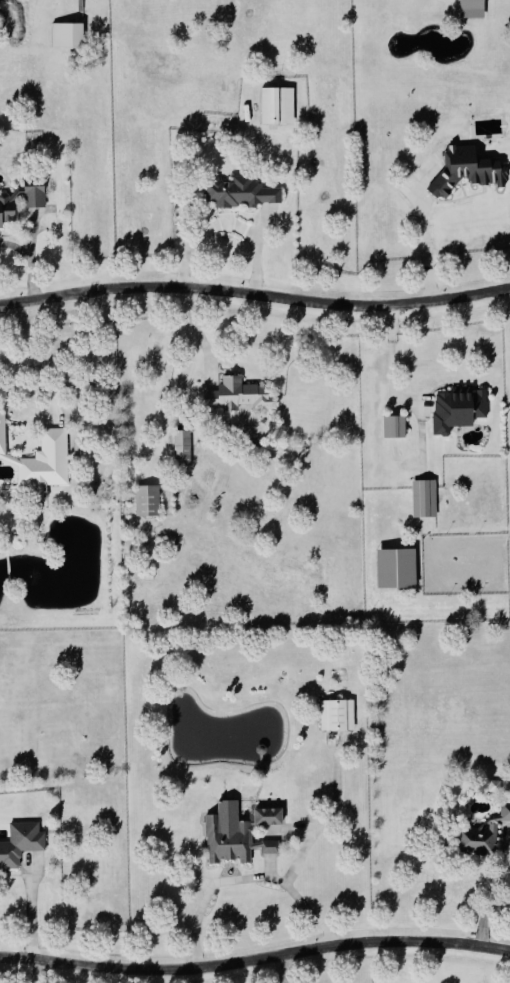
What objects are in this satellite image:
building: (472, 9)
building: (67, 35)
building: (277, 106)
building: (468, 169)
building: (243, 192)
building: (34, 193)
building: (8, 209)
road: (228, 224)
road: (418, 247)
road: (255, 293)
road: (192, 322)
road: (389, 363)
road: (89, 380)
building: (240, 395)
building: (459, 409)
building: (394, 427)
building: (183, 449)
building: (44, 459)
building: (424, 498)
building: (147, 501)
building: (396, 568)
building: (337, 716)
building: (484, 834)
building: (242, 837)
building: (22, 843)
road: (243, 882)
road: (488, 892)
road: (39, 923)
road: (255, 963)
road: (286, 970)
road: (191, 977)

